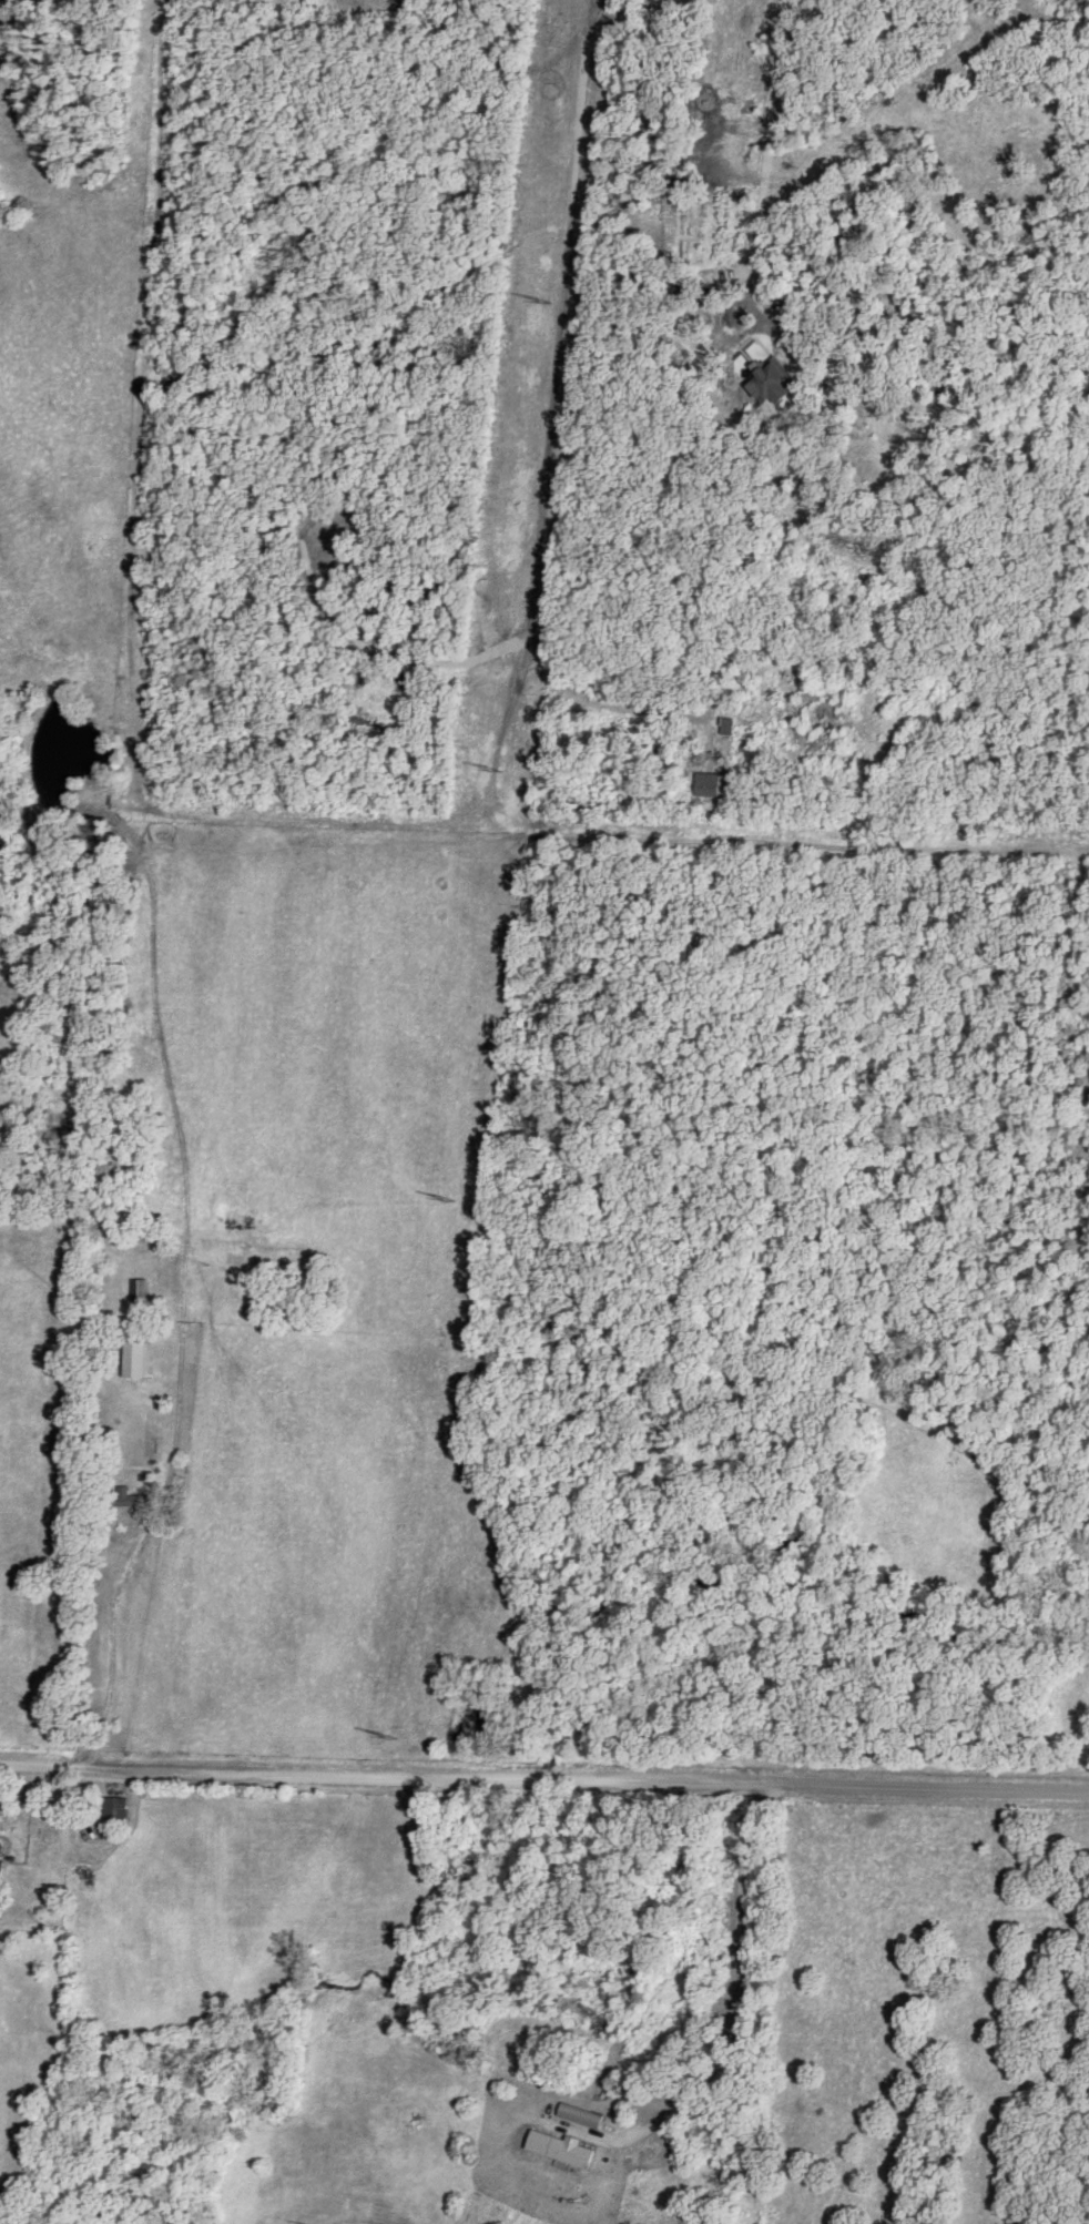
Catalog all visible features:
power tower: (538, 301)
building: (769, 383)
power tower: (485, 765)
power tower: (439, 1199)
building: (140, 1289)
building: (124, 1497)
power tower: (381, 1735)
road: (544, 1777)
building: (115, 1808)
building: (1, 1870)
building: (560, 2147)

